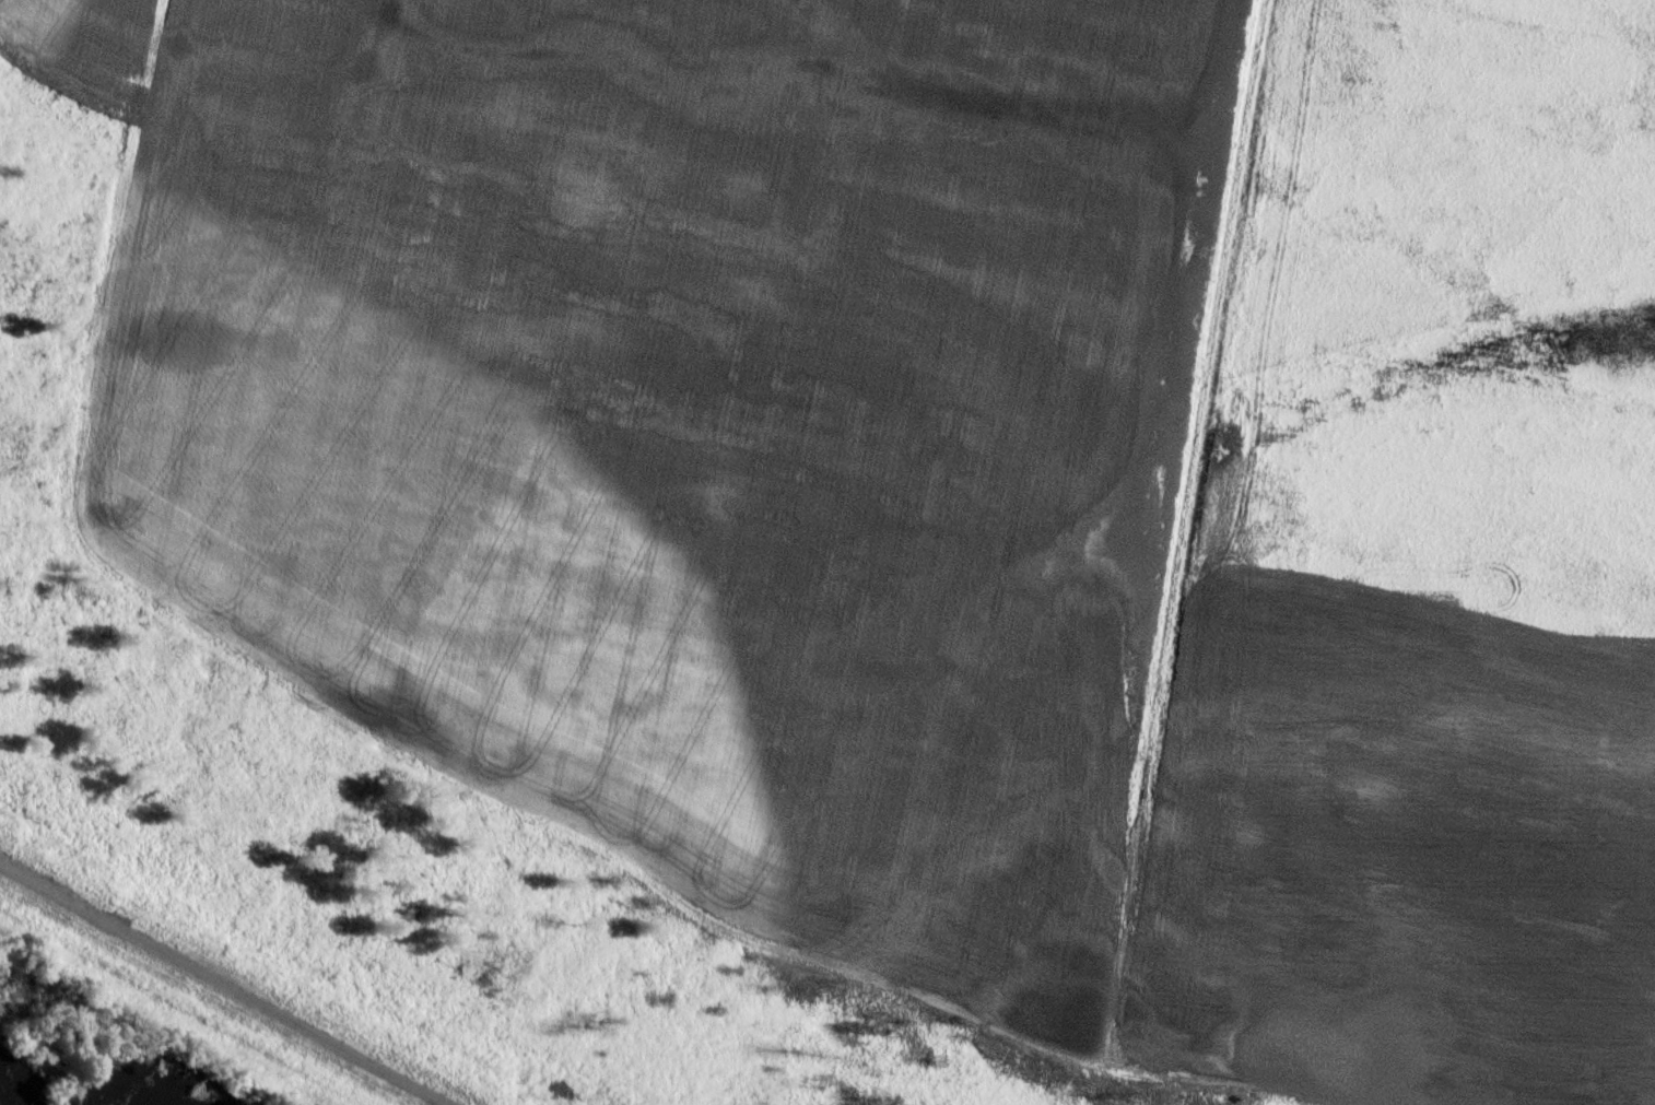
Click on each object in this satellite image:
road: (219, 986)

